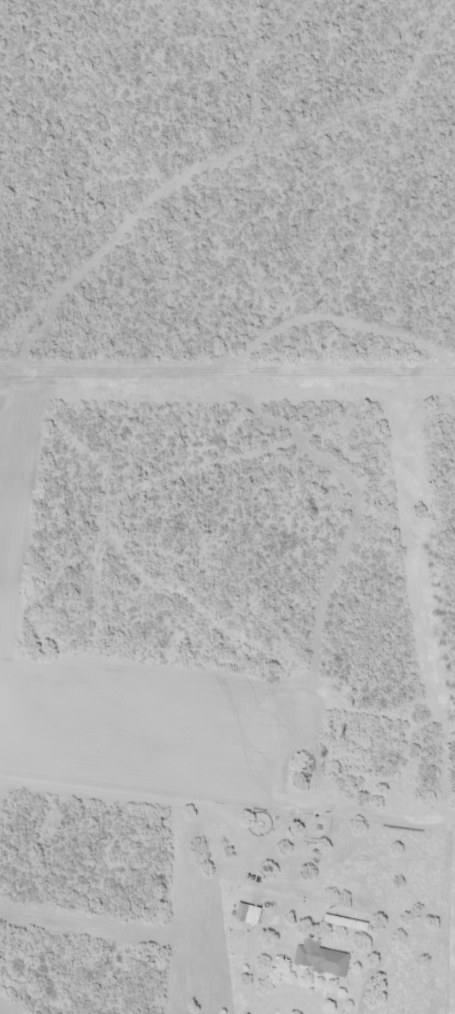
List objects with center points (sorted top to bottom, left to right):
building: (249, 914)
building: (344, 922)
building: (321, 958)

